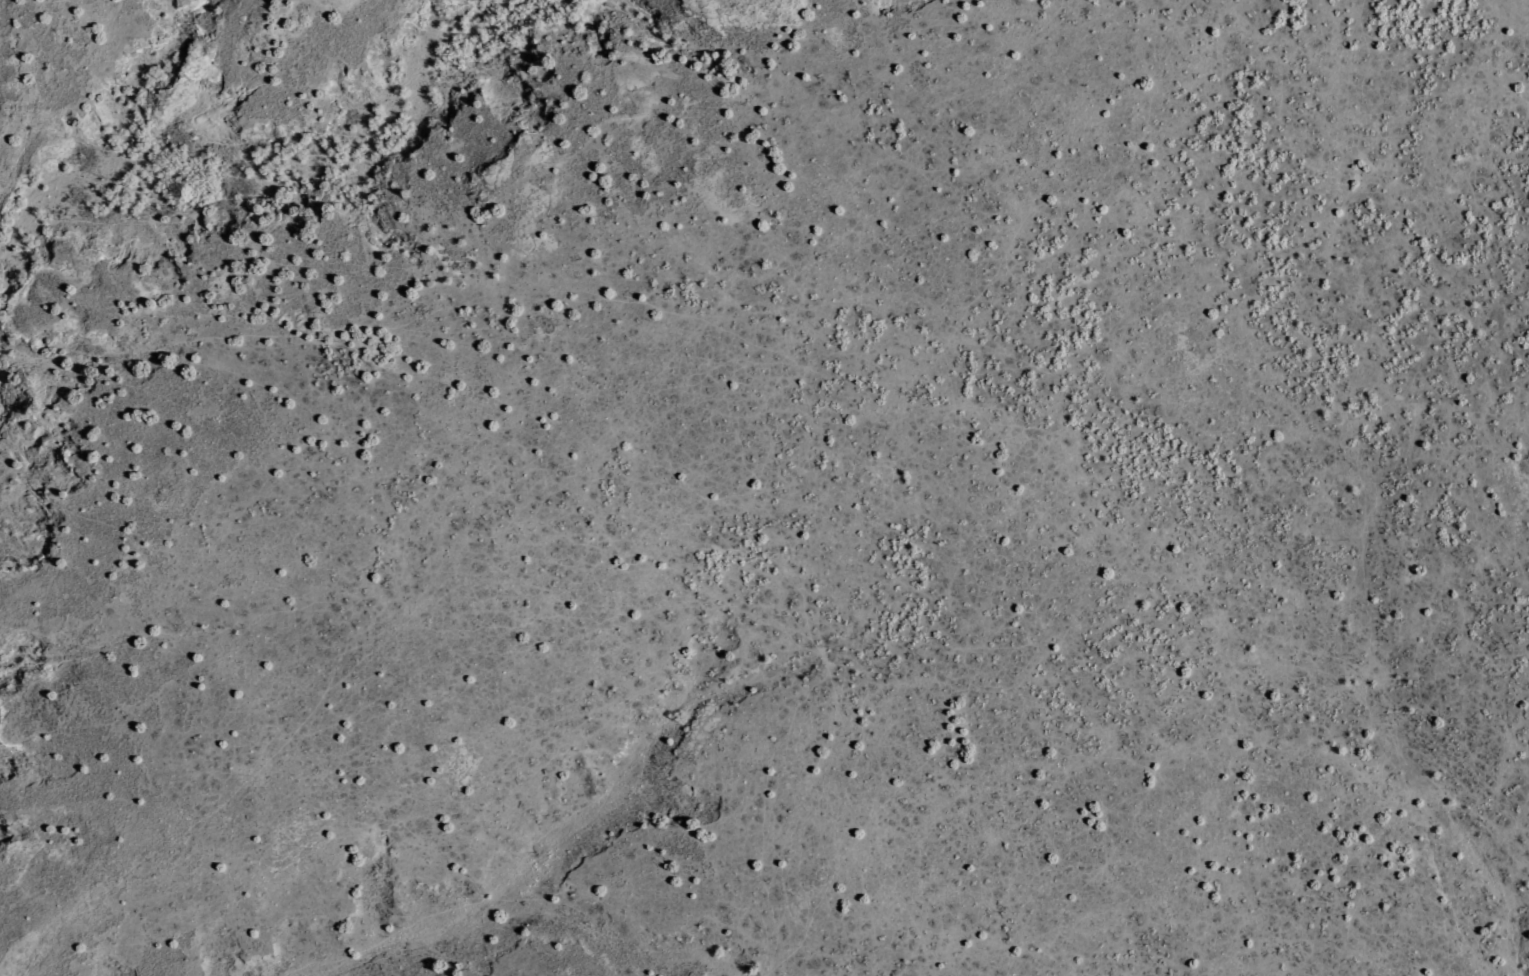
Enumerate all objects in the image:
road: (1343, 827)

